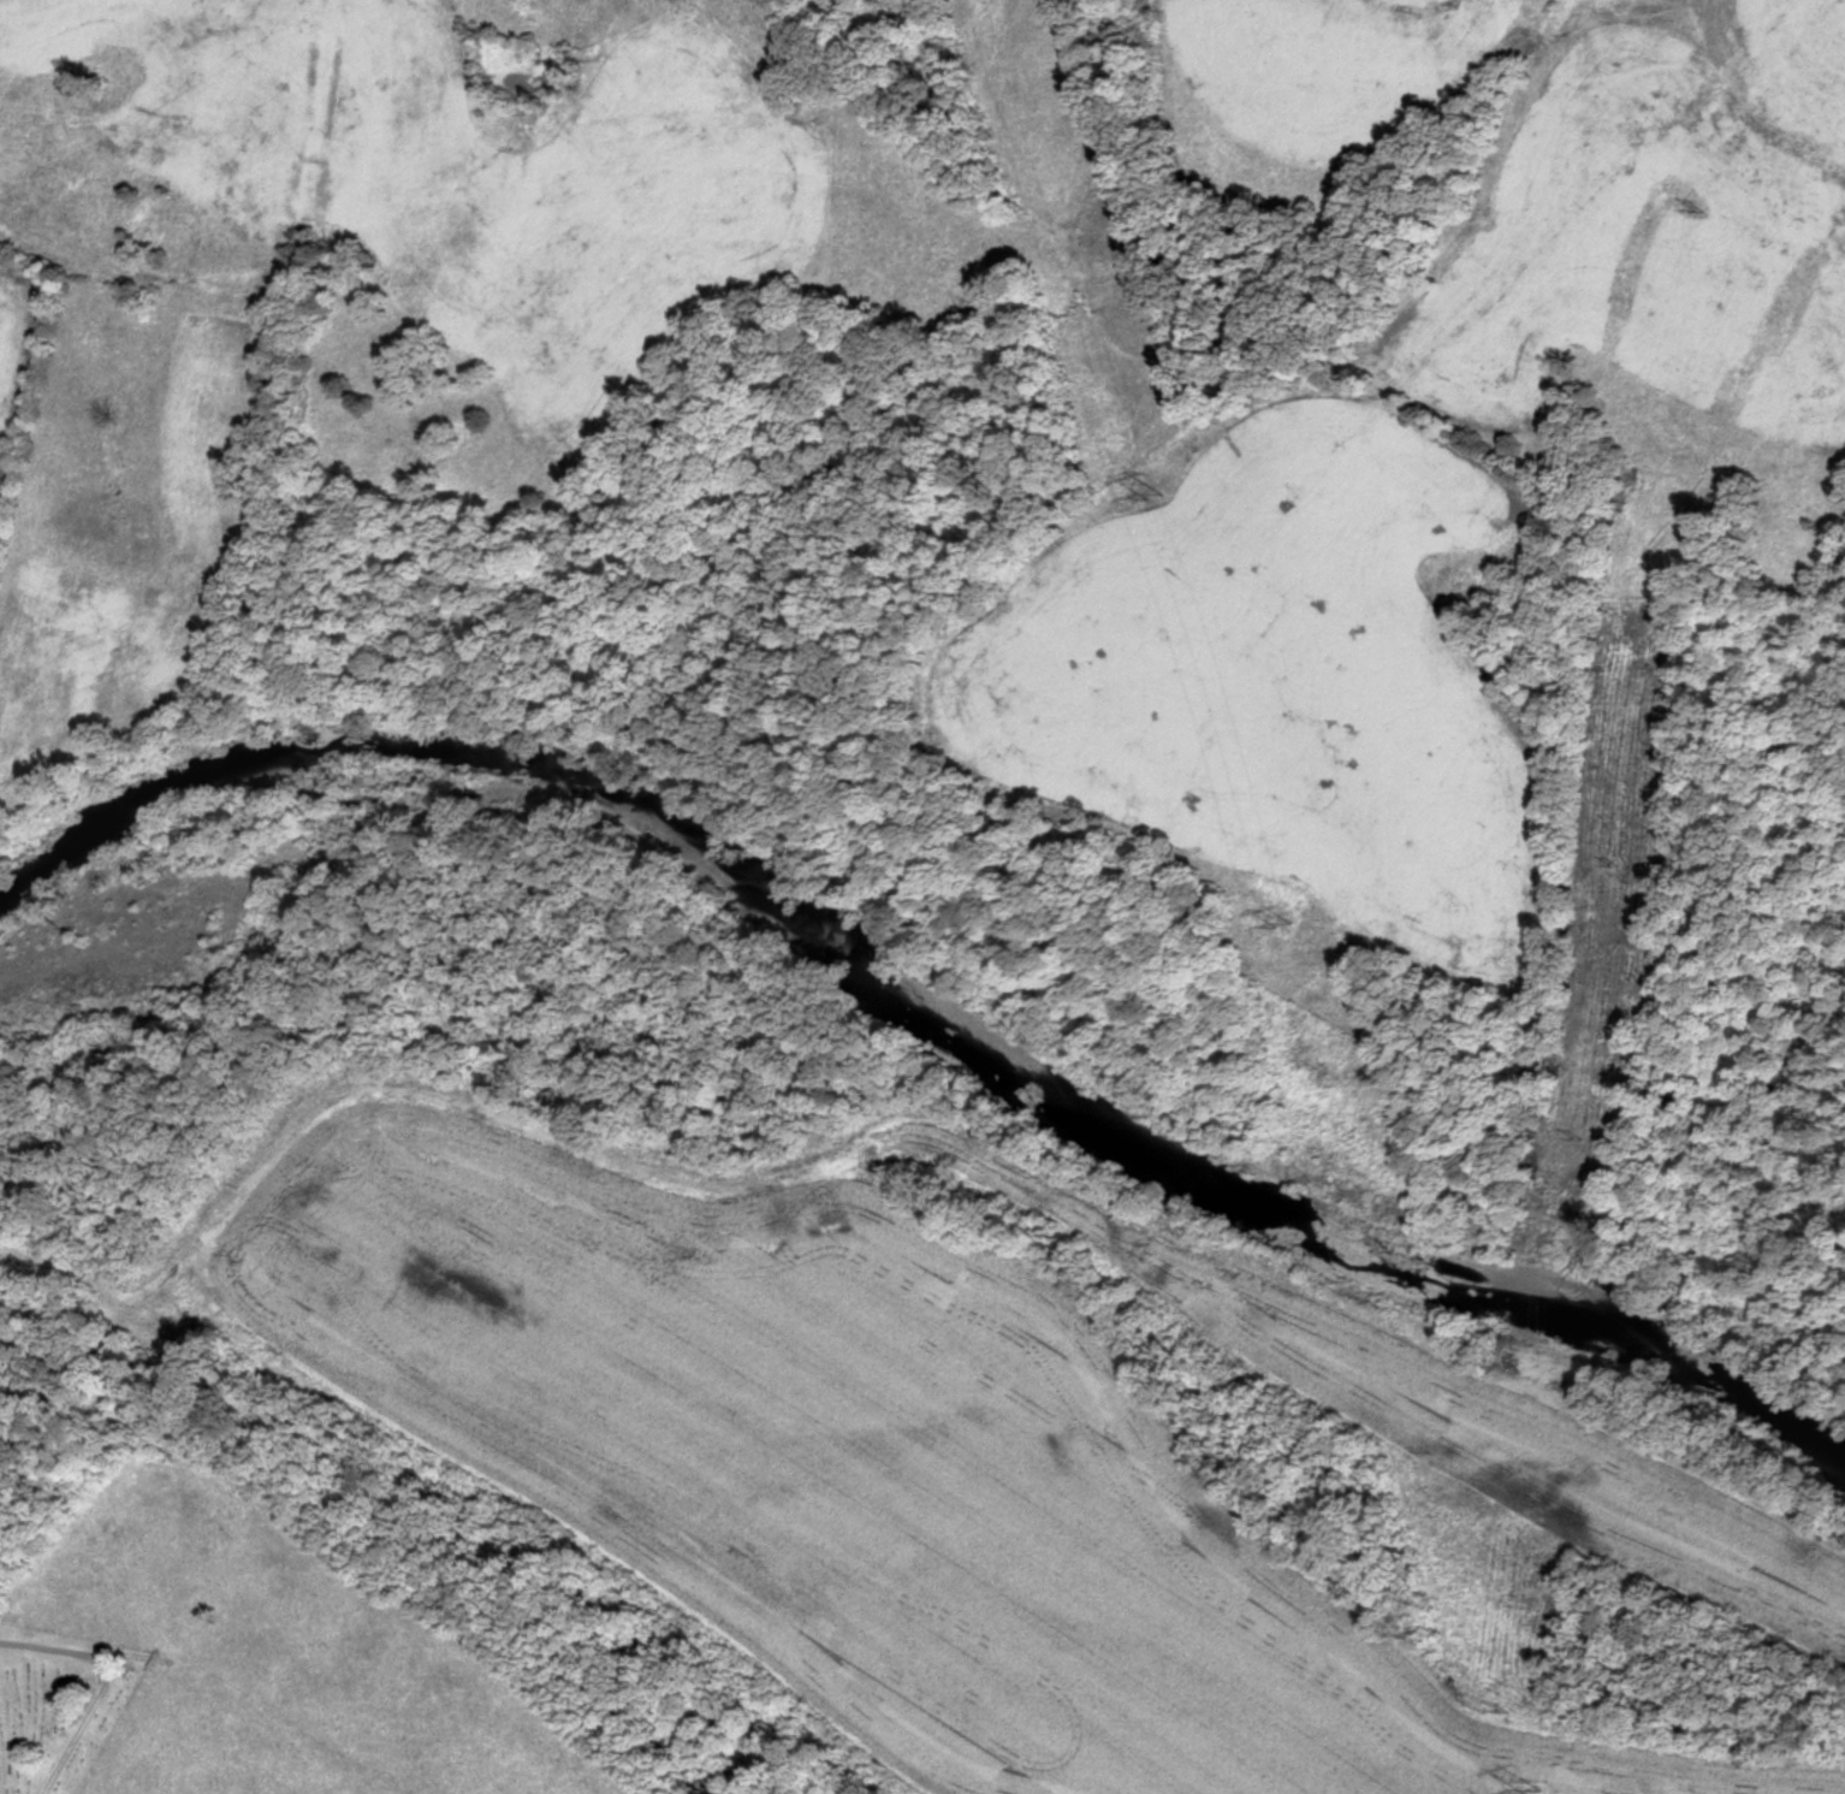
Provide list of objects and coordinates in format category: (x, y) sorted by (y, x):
power tower: (1152, 496)
power tower: (1277, 925)
building: (409, 1117)
road: (184, 1281)
park: (55, 1703)
power tower: (1533, 1788)

